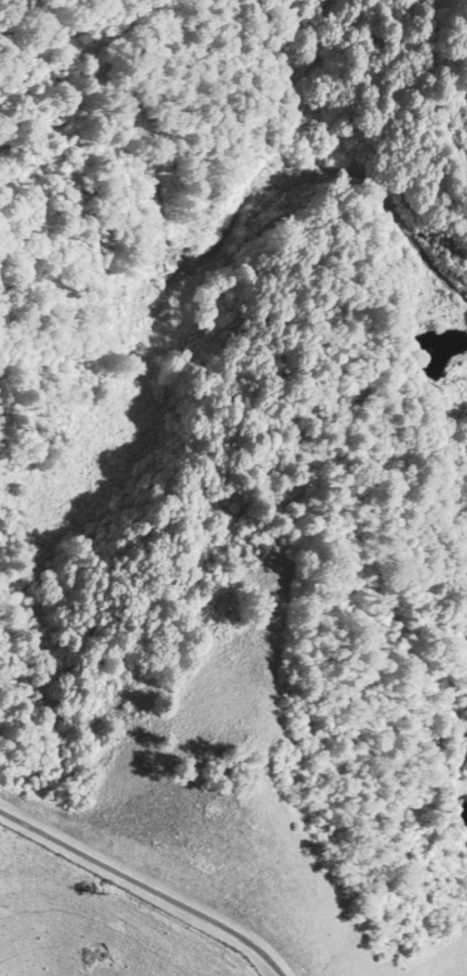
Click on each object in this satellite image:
road: (427, 235)
road: (145, 887)

